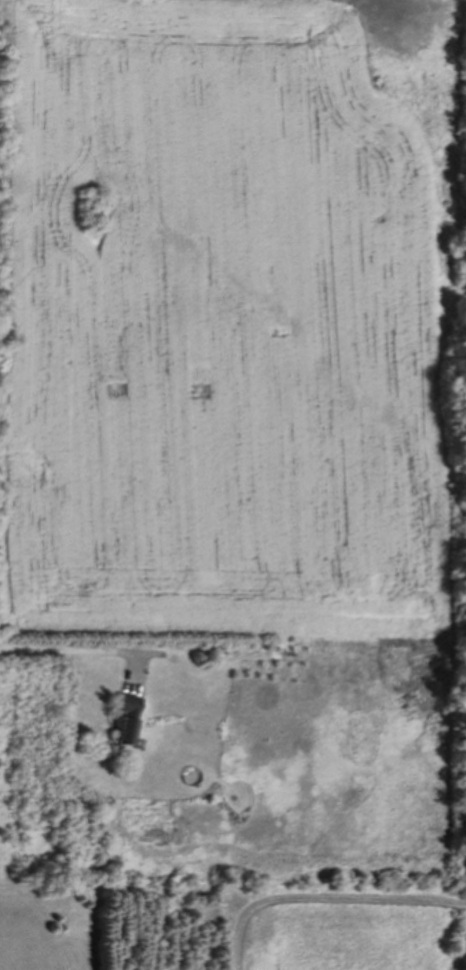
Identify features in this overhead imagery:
crop: (230, 323)
road: (79, 649)
building: (126, 717)

